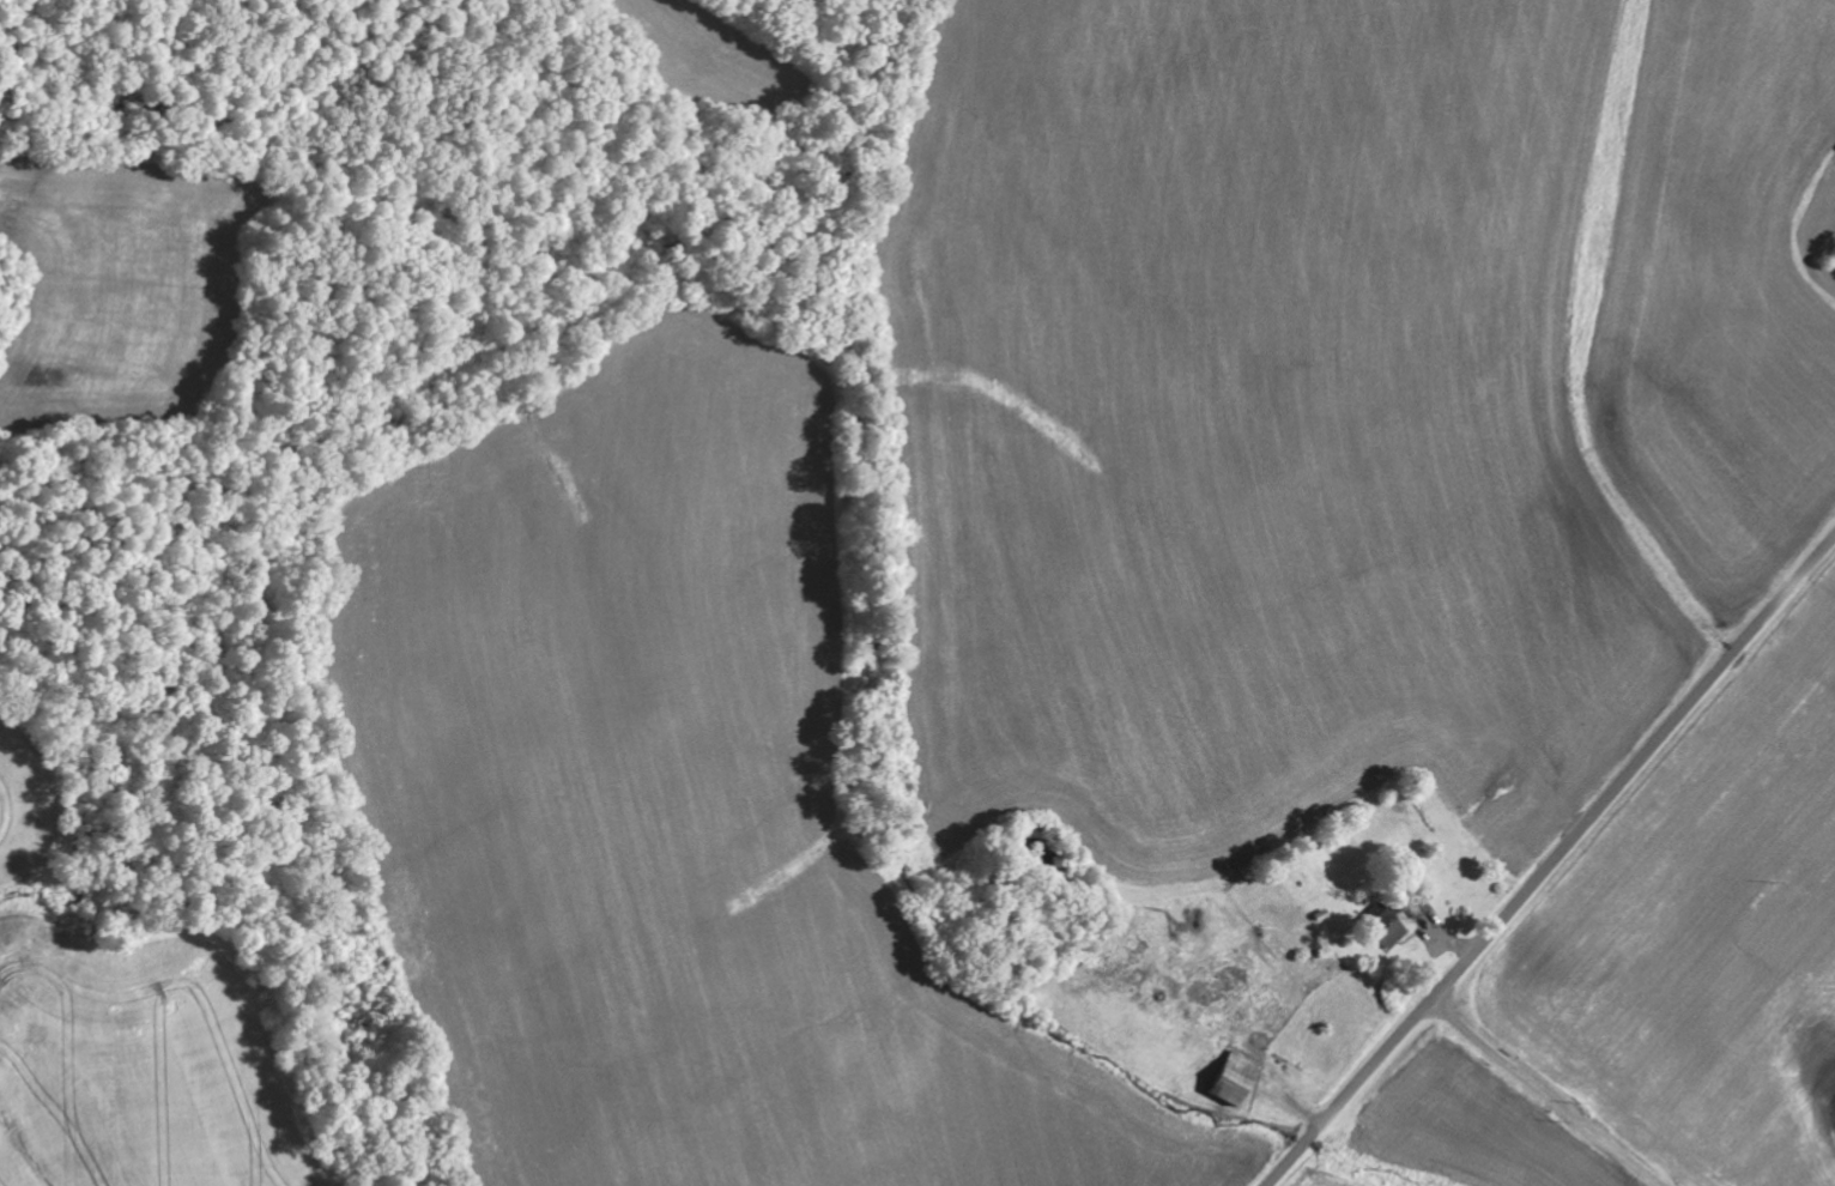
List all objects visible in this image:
road: (1551, 861)
building: (1385, 931)
building: (1233, 1079)
road: (1546, 1094)

